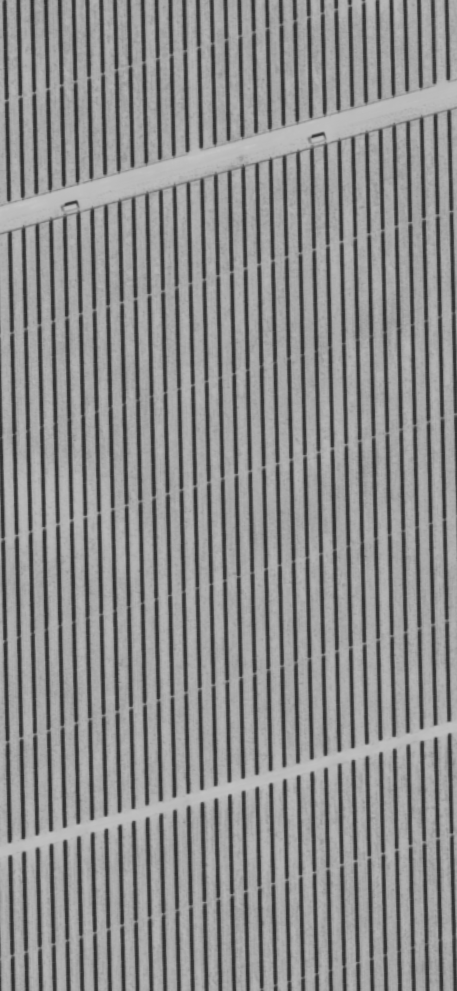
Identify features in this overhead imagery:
solar farm: (228, 495)

